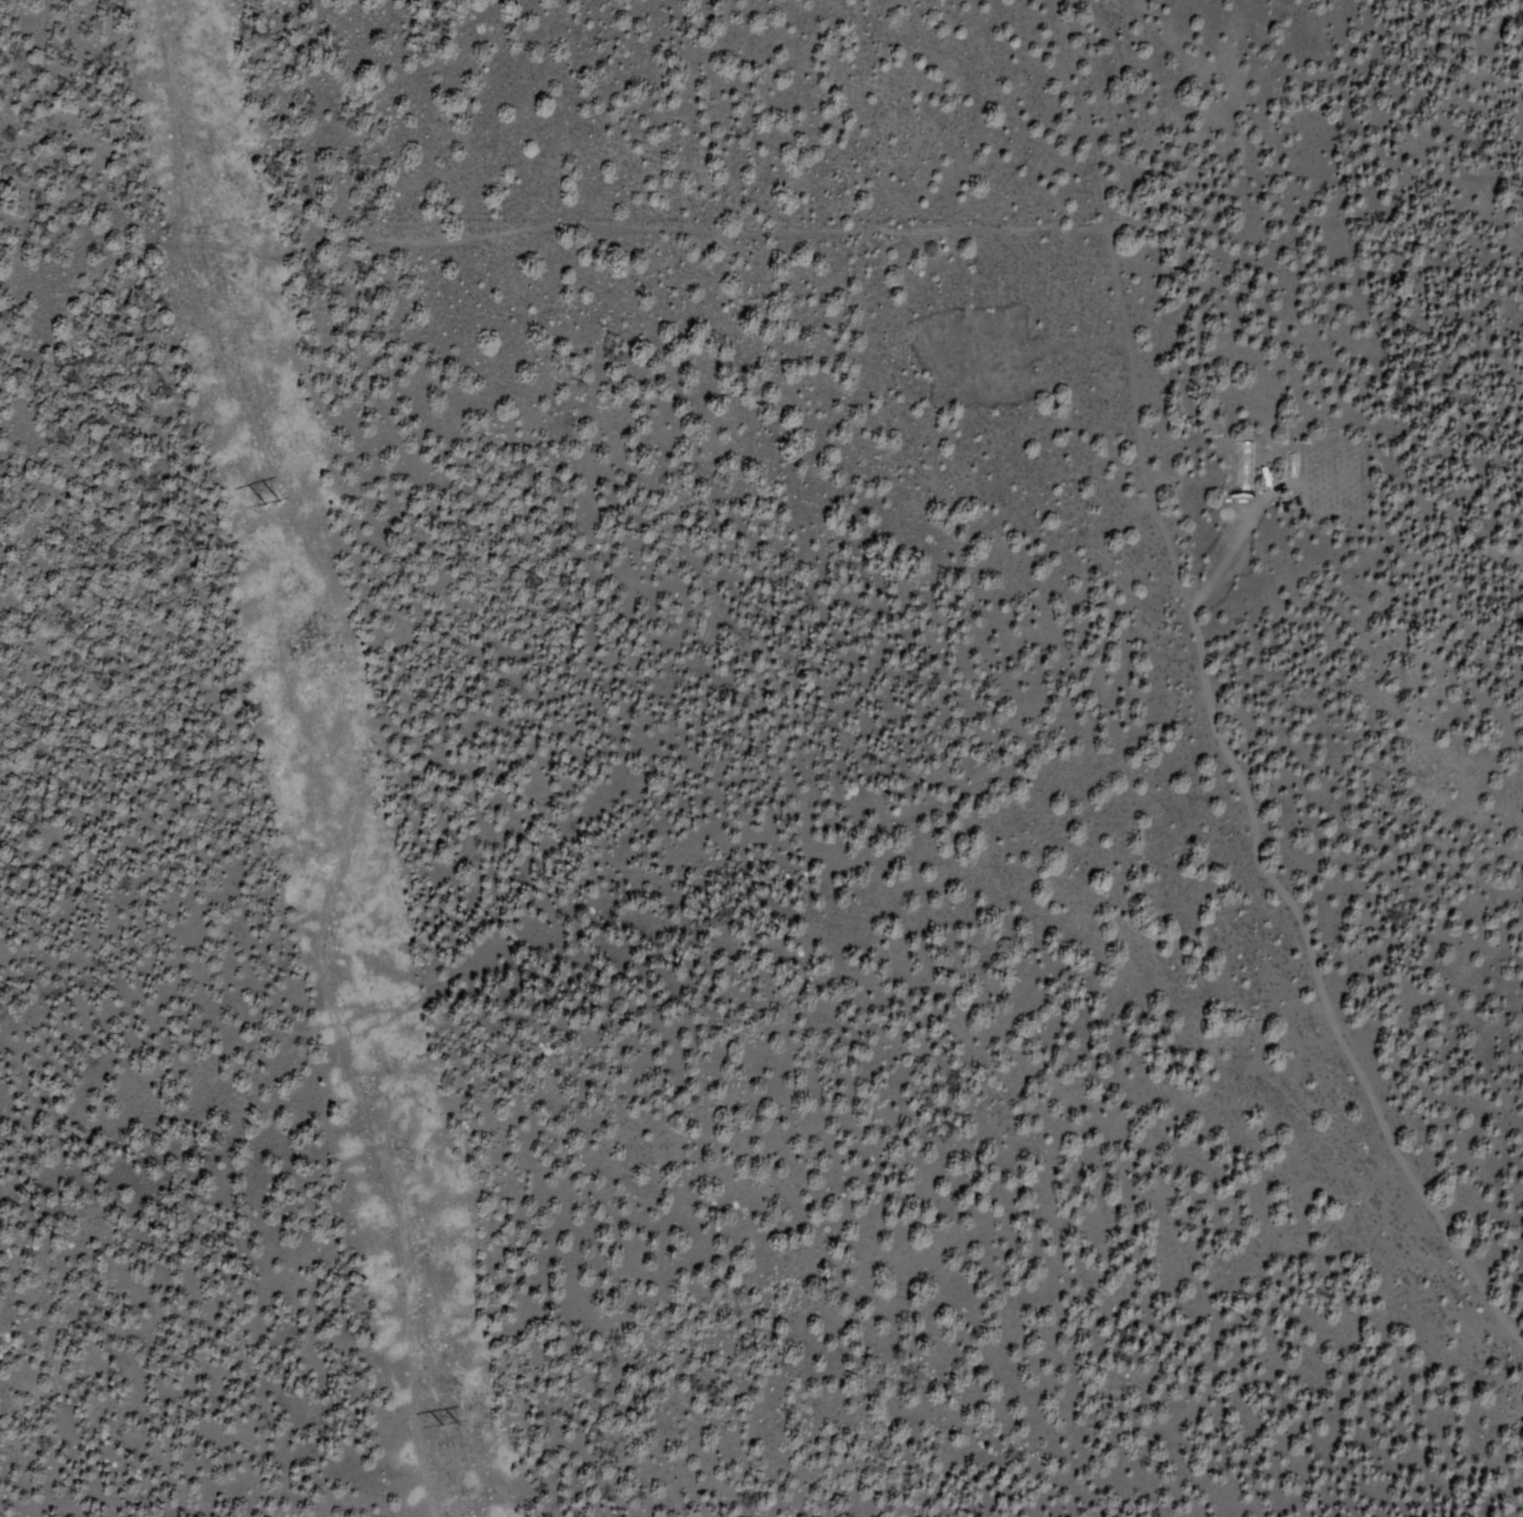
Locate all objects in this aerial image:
power tower: (268, 504)
power tower: (447, 1423)

